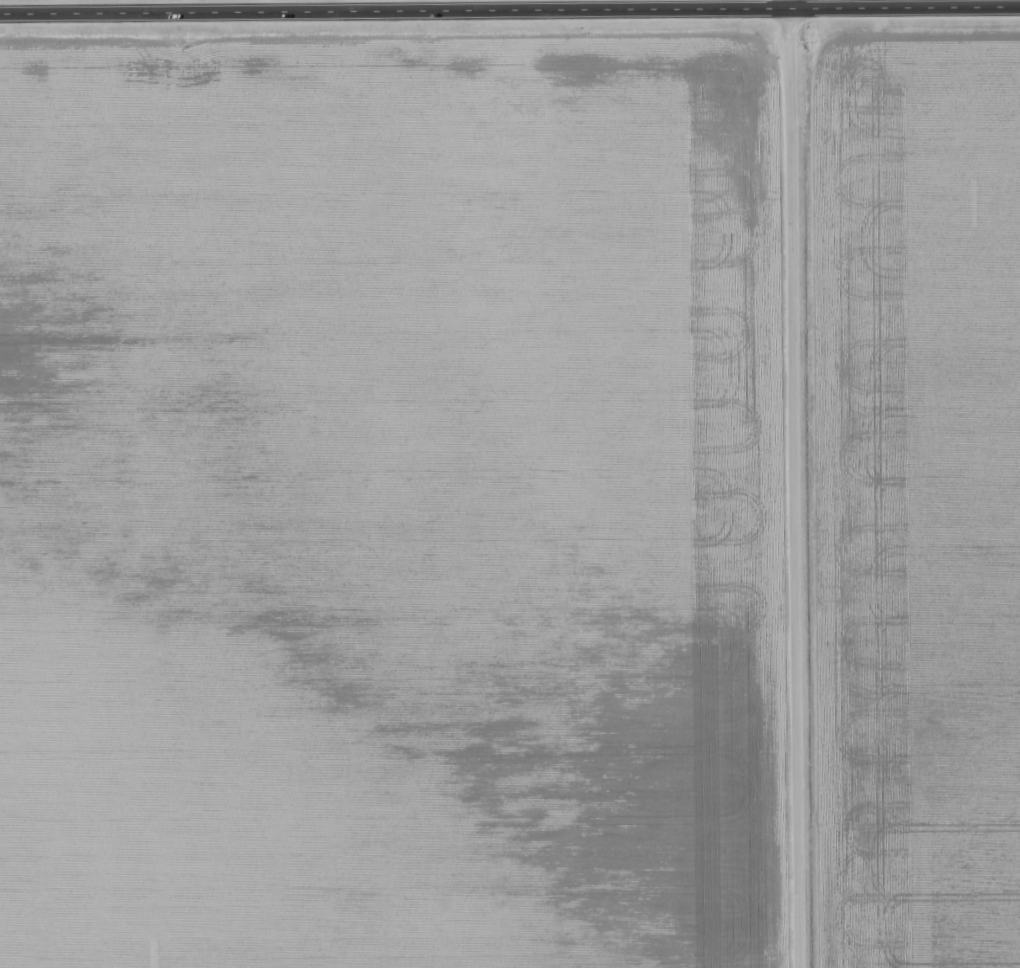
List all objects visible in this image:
road: (509, 7)
road: (786, 483)

